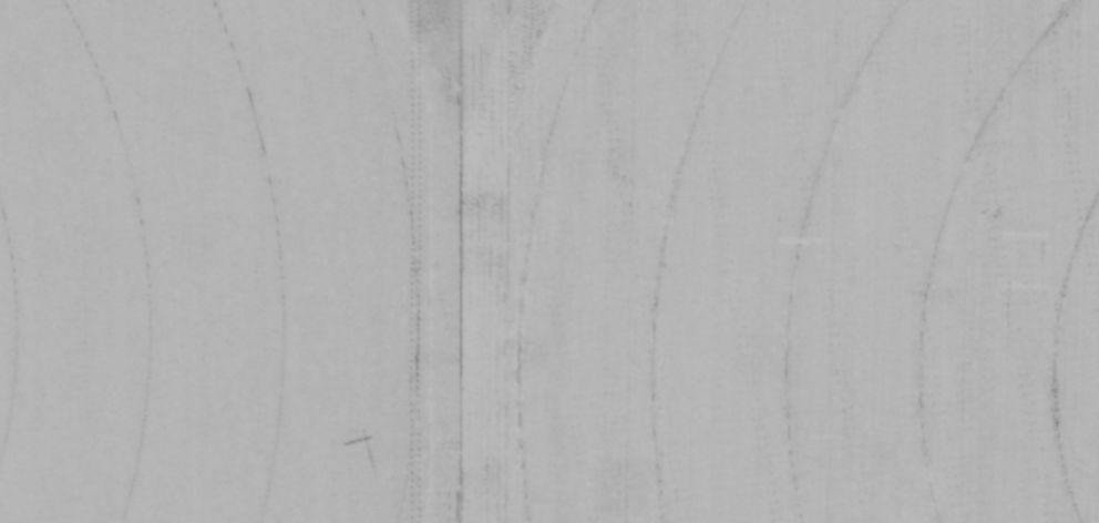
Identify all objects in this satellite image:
crop: (549, 261)

